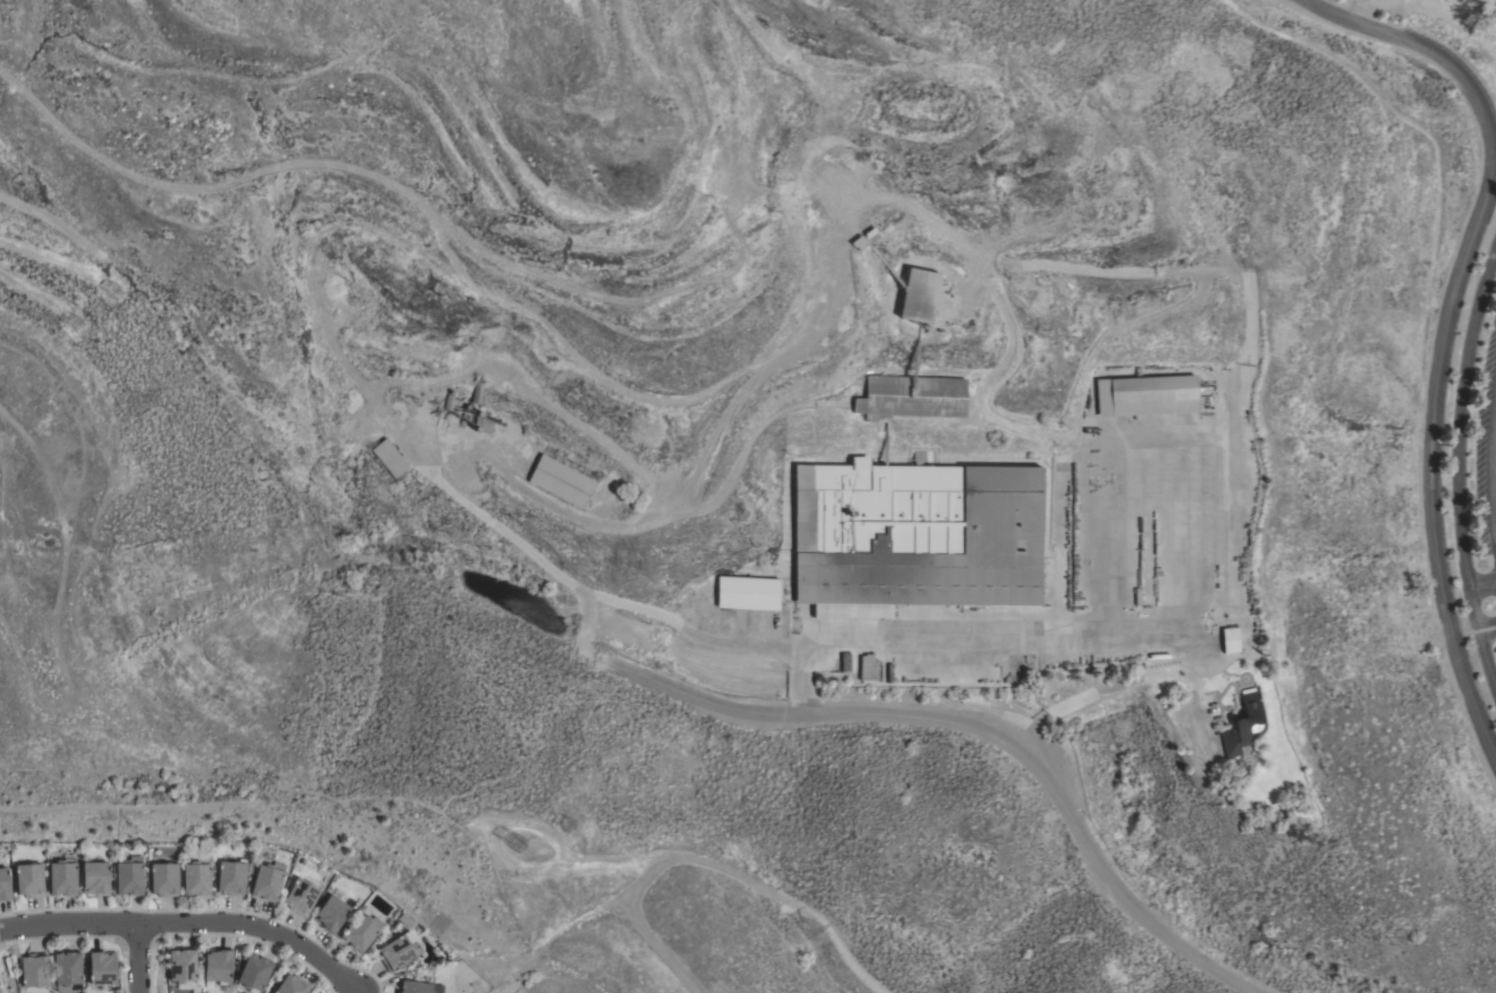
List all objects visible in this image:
road: (1433, 228)
power tower: (113, 293)
building: (919, 294)
park: (1349, 294)
power tower: (84, 322)
road: (1448, 325)
building: (476, 392)
building: (1147, 395)
building: (911, 397)
parking lot: (1487, 452)
building: (389, 457)
road: (275, 459)
road: (1493, 463)
road: (1459, 470)
building: (561, 481)
building: (616, 503)
building: (917, 536)
road: (1483, 587)
road: (581, 590)
building: (748, 592)
road: (1488, 629)
road: (1019, 632)
building: (1230, 639)
building: (844, 662)
building: (867, 666)
building: (1243, 724)
road: (981, 729)
power tower: (569, 826)
power tower: (526, 849)
building: (130, 876)
building: (231, 877)
building: (63, 878)
building: (96, 878)
building: (165, 878)
building: (197, 878)
building: (30, 879)
building: (268, 880)
building: (4, 884)
building: (301, 896)
building: (331, 913)
building: (405, 919)
road: (191, 923)
building: (361, 931)
power tower: (818, 939)
building: (399, 950)
road: (140, 958)
building: (182, 965)
building: (218, 965)
building: (102, 967)
building: (67, 971)
building: (35, 972)
building: (254, 973)
building: (292, 984)
building: (419, 987)

